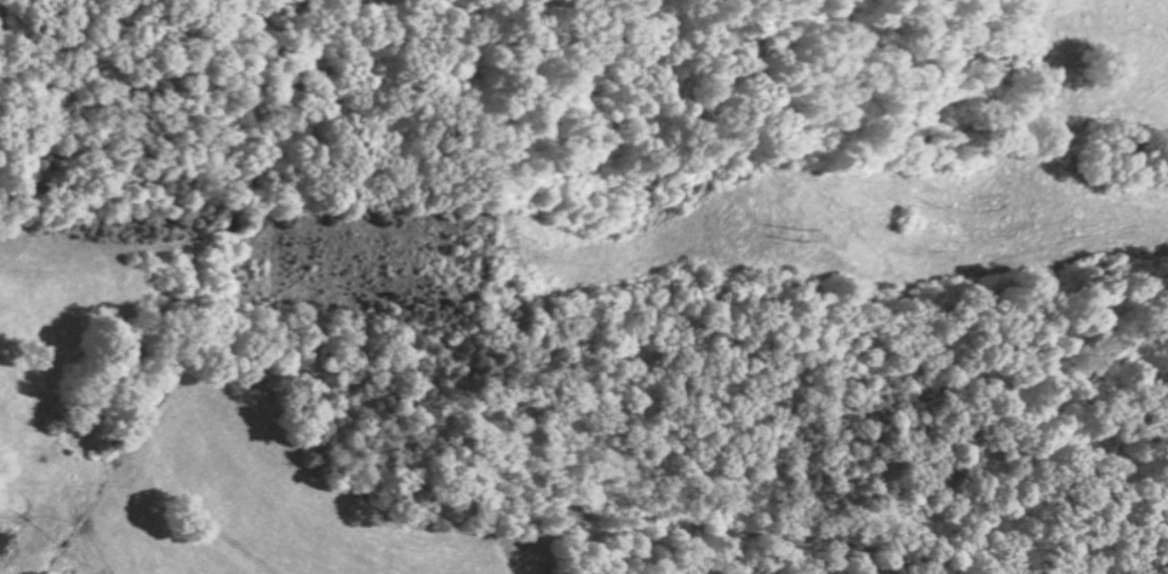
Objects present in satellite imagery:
power tower: (818, 247)
power tower: (505, 264)

